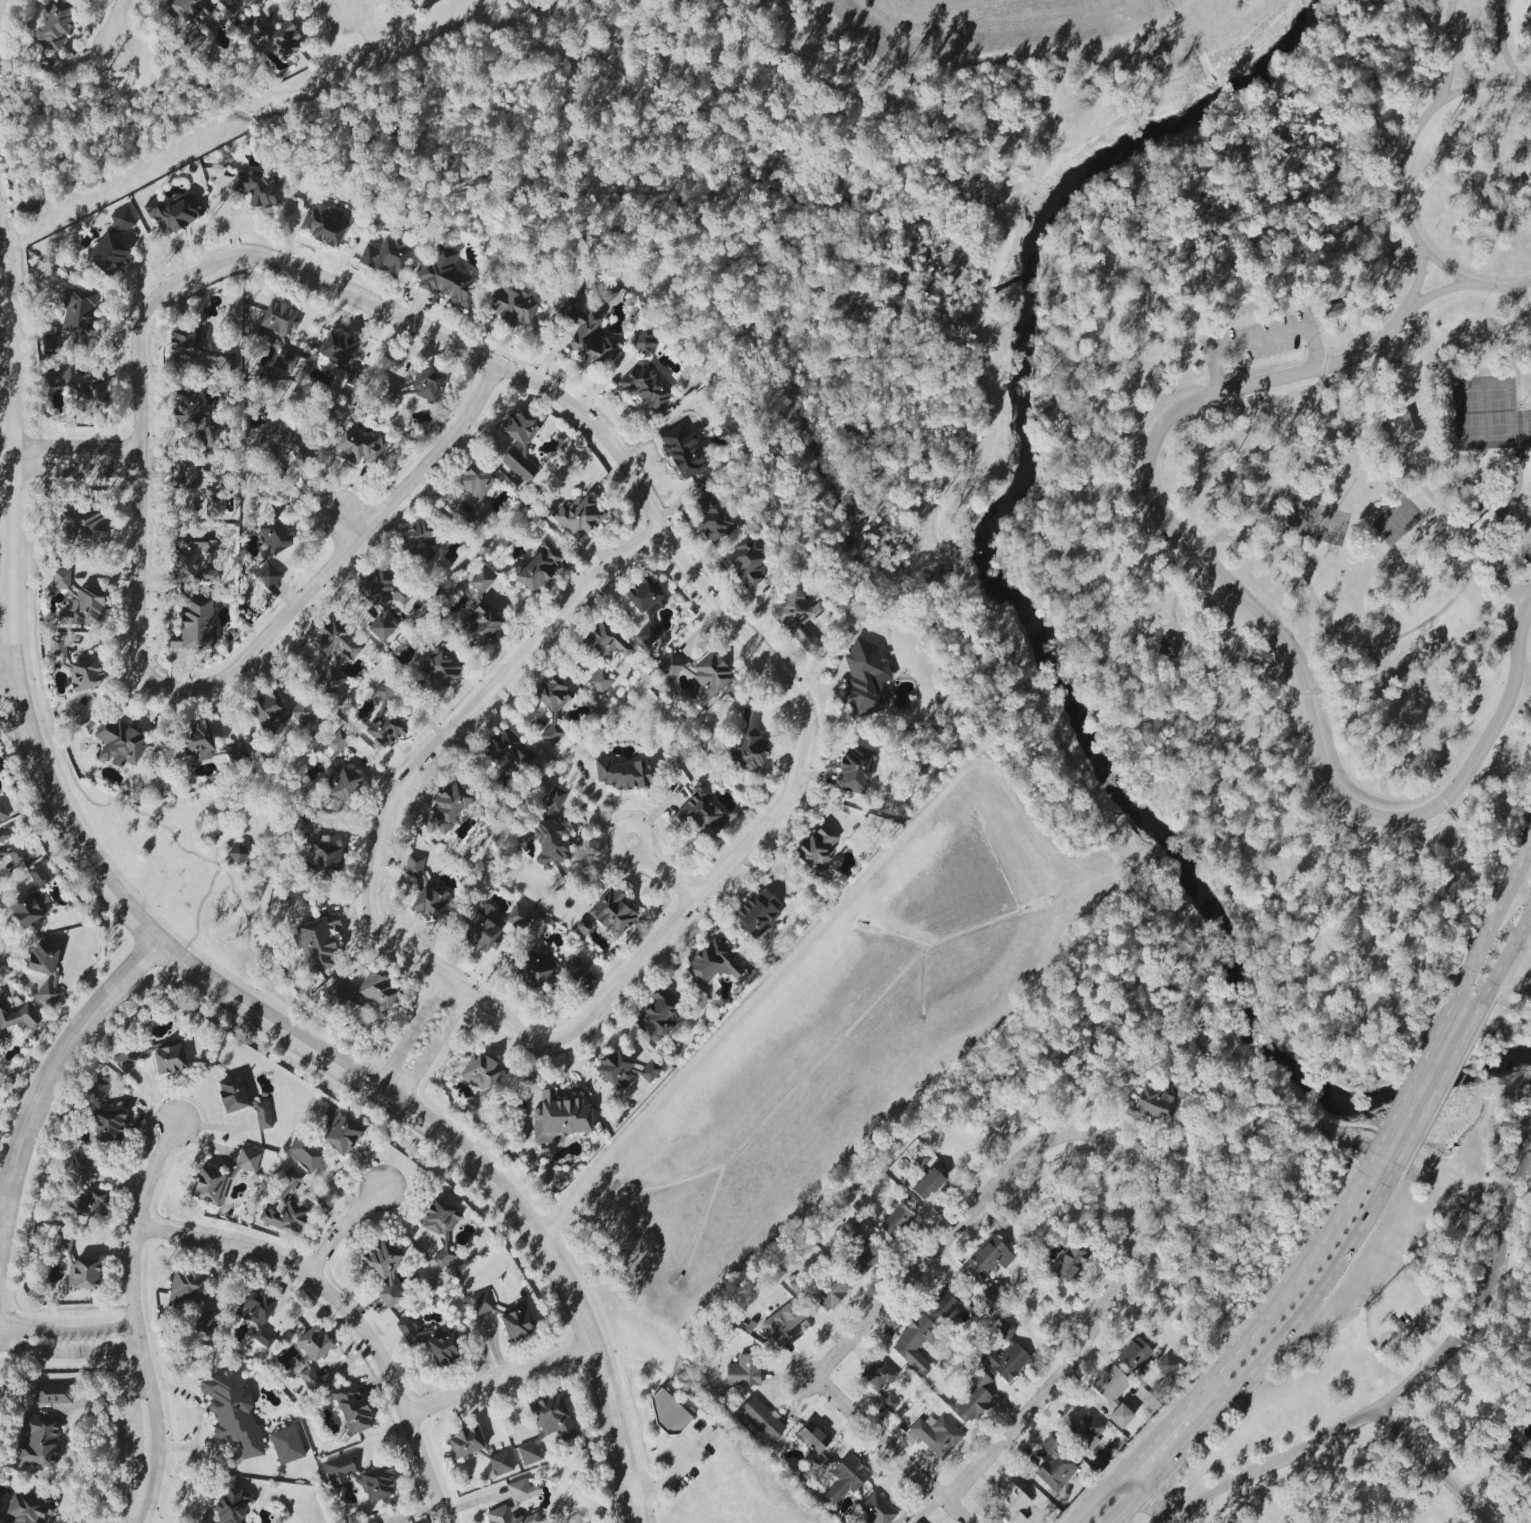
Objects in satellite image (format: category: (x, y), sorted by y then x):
building: (245, 1)
road: (339, 5)
building: (189, 9)
building: (1527, 17)
parking lot: (1529, 19)
road: (115, 22)
road: (5, 25)
building: (54, 26)
building: (255, 28)
road: (363, 37)
building: (195, 39)
building: (285, 41)
road: (1502, 45)
road: (1450, 54)
road: (382, 62)
road: (230, 109)
road: (1403, 157)
road: (116, 174)
building: (258, 188)
road: (9, 194)
building: (174, 213)
building: (122, 219)
road: (9, 249)
building: (107, 254)
building: (386, 256)
road: (1442, 267)
building: (444, 276)
road: (302, 277)
road: (1470, 286)
road: (1517, 286)
building: (606, 296)
building: (512, 306)
building: (1333, 310)
building: (276, 321)
building: (73, 324)
building: (584, 332)
road: (1260, 341)
parking lot: (1261, 341)
building: (644, 343)
building: (185, 344)
building: (337, 347)
building: (57, 375)
building: (357, 378)
building: (427, 385)
building: (644, 387)
building: (382, 395)
building: (91, 398)
building: (185, 407)
building: (213, 434)
building: (518, 443)
building: (283, 444)
road: (72, 446)
building: (358, 446)
building: (681, 452)
road: (72, 472)
building: (186, 475)
road: (1518, 486)
building: (475, 494)
building: (212, 501)
park: (1301, 502)
road: (137, 515)
road: (1510, 515)
building: (711, 517)
building: (577, 518)
road: (1446, 519)
road: (351, 522)
building: (83, 527)
building: (1482, 528)
building: (275, 535)
building: (418, 541)
parking lot: (1510, 554)
road: (342, 556)
building: (194, 558)
building: (745, 562)
building: (539, 567)
road: (1497, 569)
building: (268, 575)
building: (60, 579)
building: (481, 581)
building: (642, 595)
building: (381, 600)
building: (85, 608)
building: (797, 619)
river: (1032, 622)
building: (482, 624)
building: (196, 625)
road: (1265, 627)
building: (647, 635)
building: (334, 640)
building: (605, 641)
building: (57, 647)
building: (1169, 647)
building: (670, 665)
building: (440, 670)
road: (6, 671)
building: (85, 674)
building: (864, 678)
building: (330, 679)
building: (709, 679)
building: (600, 681)
building: (383, 690)
road: (1293, 696)
road: (9, 699)
building: (552, 706)
building: (268, 711)
building: (300, 713)
building: (384, 729)
building: (198, 740)
building: (337, 741)
building: (748, 741)
building: (118, 743)
building: (507, 750)
road: (40, 771)
building: (854, 771)
building: (624, 774)
building: (342, 784)
building: (555, 799)
building: (446, 808)
building: (2, 811)
building: (701, 811)
building: (302, 825)
building: (5, 834)
building: (549, 843)
road: (641, 848)
building: (817, 850)
building: (237, 853)
building: (13, 854)
building: (323, 859)
building: (414, 868)
road: (666, 875)
building: (30, 899)
building: (429, 901)
building: (612, 912)
building: (757, 913)
road: (1494, 918)
building: (494, 926)
building: (582, 927)
building: (318, 943)
road: (1506, 960)
building: (712, 964)
building: (534, 968)
building: (573, 968)
building: (45, 972)
road: (614, 985)
building: (377, 991)
building: (335, 996)
building: (658, 1015)
building: (15, 1016)
road: (411, 1034)
road: (431, 1047)
building: (125, 1059)
building: (169, 1059)
road: (58, 1069)
building: (614, 1069)
building: (649, 1071)
building: (481, 1075)
road: (1417, 1075)
road: (1440, 1085)
building: (1180, 1089)
building: (232, 1095)
building: (1152, 1103)
building: (104, 1114)
building: (262, 1115)
building: (559, 1118)
building: (338, 1130)
building: (305, 1152)
building: (79, 1166)
road: (147, 1175)
building: (222, 1177)
building: (927, 1184)
road: (987, 1193)
building: (285, 1206)
building: (438, 1217)
building: (895, 1221)
road: (342, 1227)
building: (63, 1242)
building: (861, 1255)
building: (991, 1255)
building: (1070, 1264)
building: (384, 1271)
road: (1490, 1273)
building: (83, 1274)
road: (132, 1279)
road: (563, 1285)
building: (187, 1289)
road: (1286, 1289)
park: (1385, 1290)
building: (829, 1292)
building: (994, 1294)
park: (1512, 1298)
building: (944, 1302)
building: (481, 1303)
road: (350, 1310)
building: (258, 1315)
building: (205, 1322)
building: (517, 1322)
building: (784, 1325)
building: (412, 1332)
building: (915, 1343)
road: (68, 1344)
building: (444, 1347)
building: (311, 1354)
building: (1005, 1354)
building: (1134, 1354)
road: (1271, 1356)
building: (1167, 1366)
building: (743, 1371)
building: (877, 1375)
road: (500, 1377)
building: (1110, 1384)
building: (53, 1394)
road: (105, 1396)
building: (974, 1396)
building: (889, 1404)
building: (352, 1408)
building: (667, 1411)
building: (232, 1412)
building: (1120, 1416)
building: (761, 1419)
building: (546, 1426)
road: (156, 1427)
building: (1083, 1429)
building: (936, 1435)
building: (812, 1437)
building: (38, 1441)
building: (465, 1442)
road: (1316, 1442)
road: (1152, 1444)
building: (286, 1445)
building: (1508, 1457)
building: (499, 1463)
road: (1438, 1466)
building: (1054, 1467)
building: (339, 1469)
road: (669, 1470)
building: (845, 1479)
building: (377, 1484)
road: (1099, 1500)
road: (1148, 1500)
building: (515, 1505)
building: (230, 1506)
building: (1011, 1506)
building: (28, 1508)
building: (876, 1510)
road: (958, 1513)
building: (373, 1522)
building: (917, 1522)

